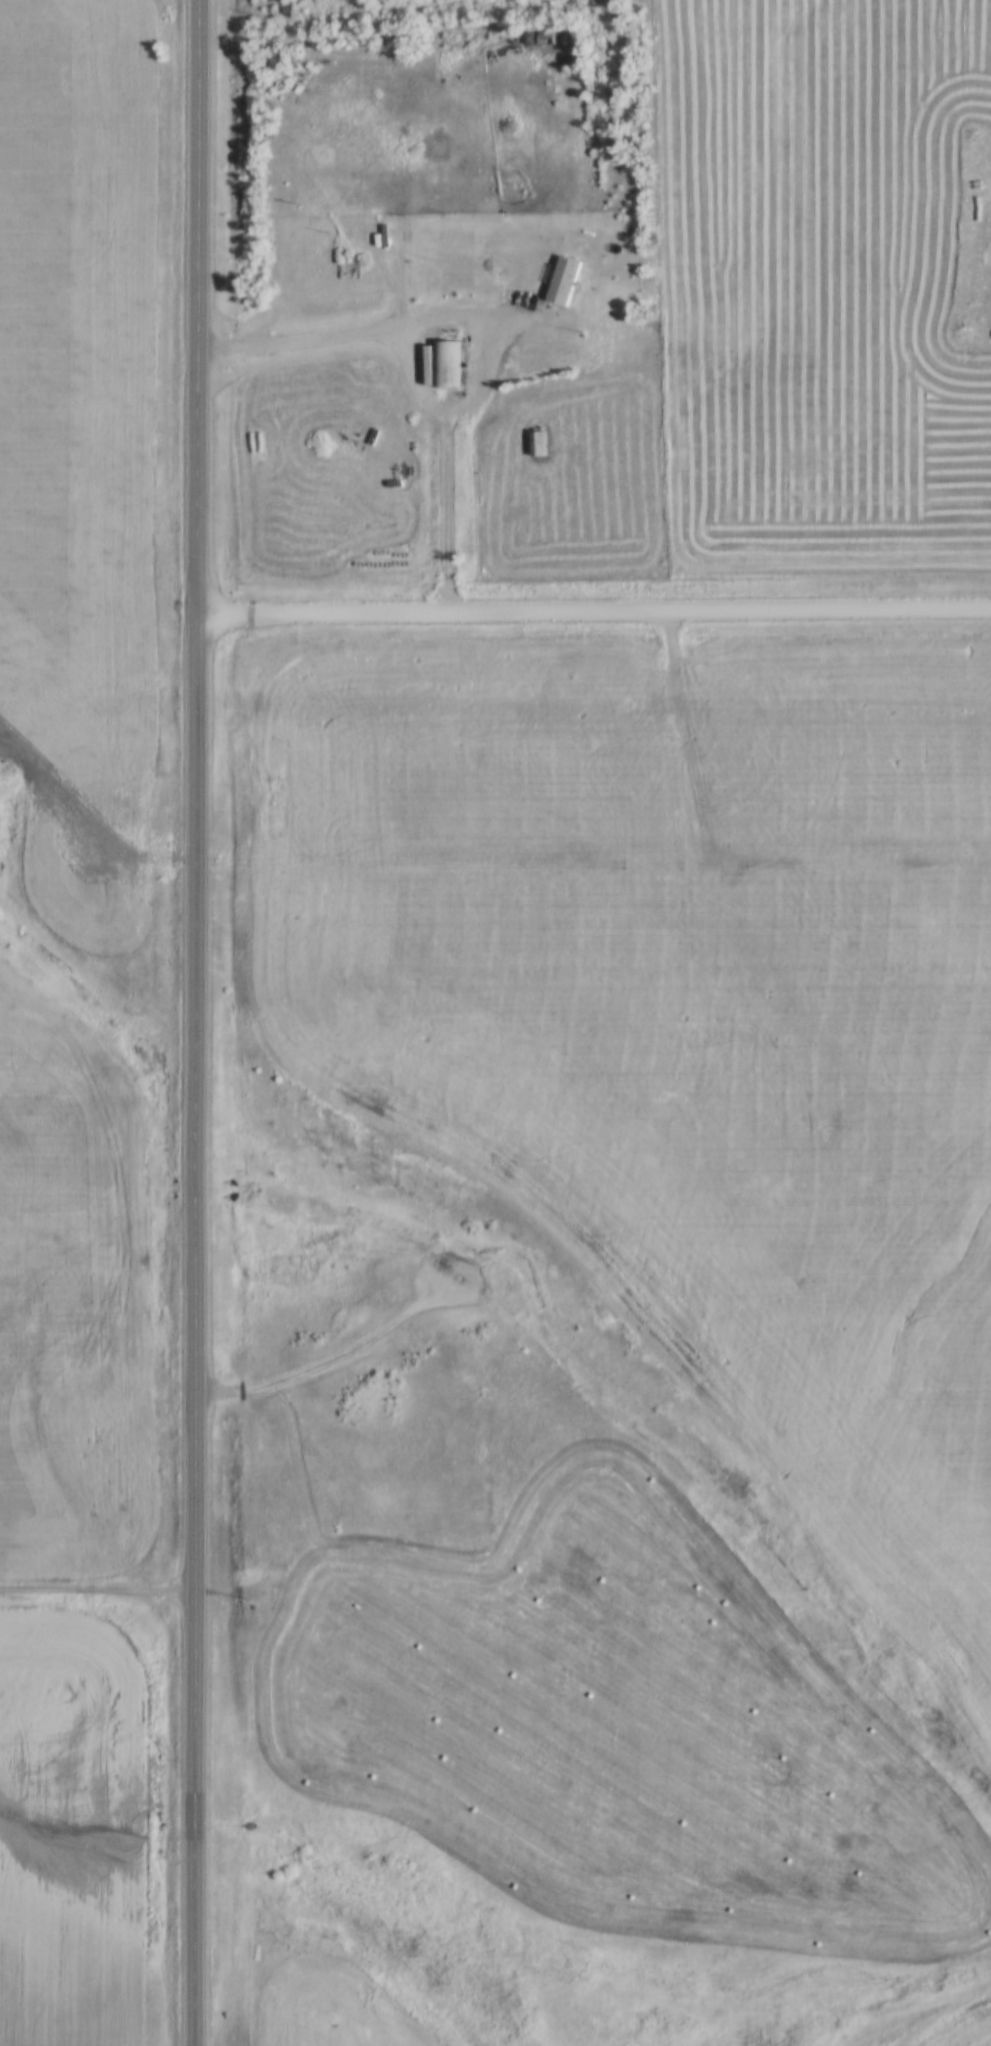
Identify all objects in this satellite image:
building: (569, 3)
building: (525, 39)
building: (543, 39)
building: (568, 61)
building: (560, 281)
road: (447, 319)
building: (444, 365)
building: (534, 445)
road: (593, 613)
road: (195, 1022)
road: (330, 1364)
road: (97, 1595)

